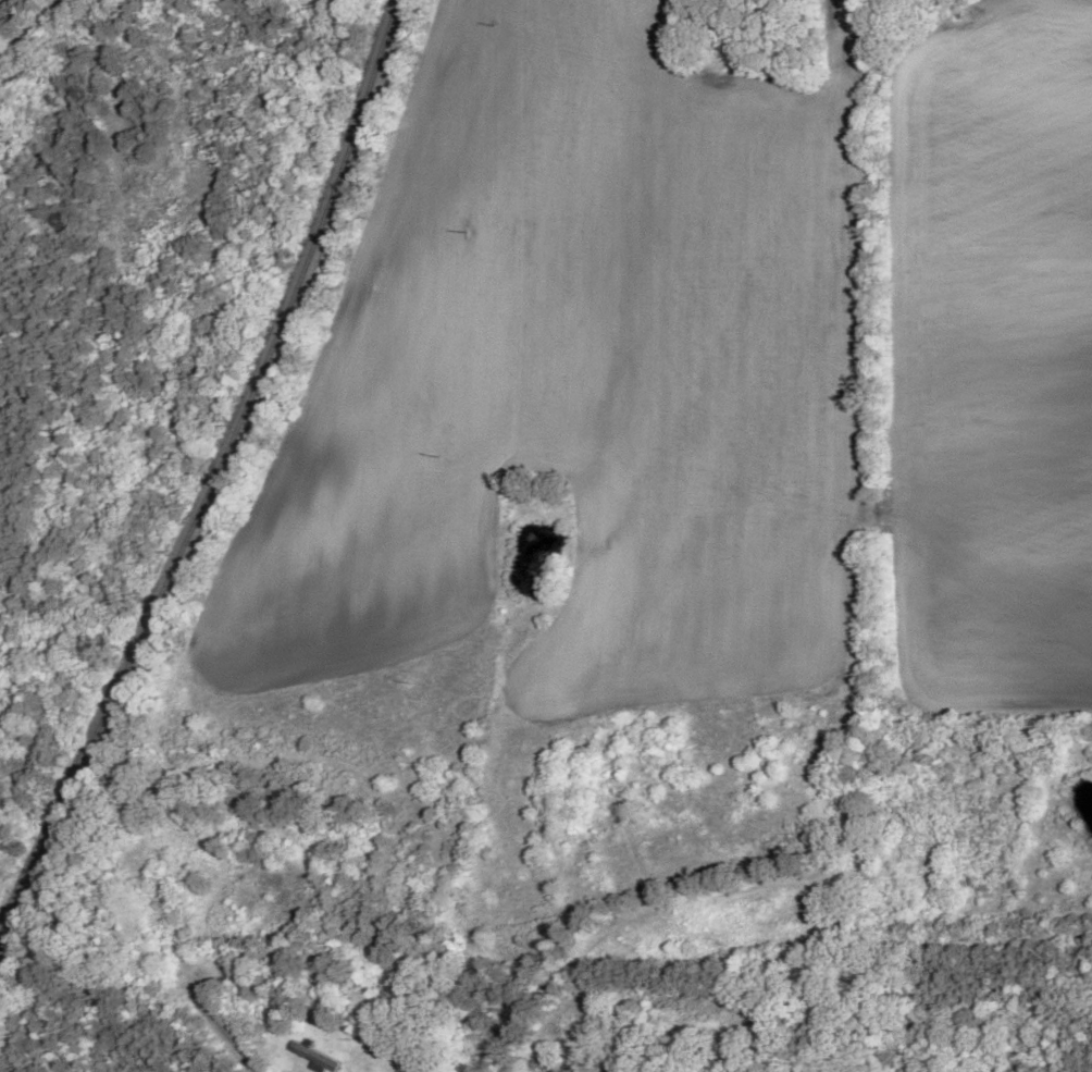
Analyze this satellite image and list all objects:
railway: (215, 473)
road: (681, 914)
building: (314, 1057)
building: (406, 1071)

